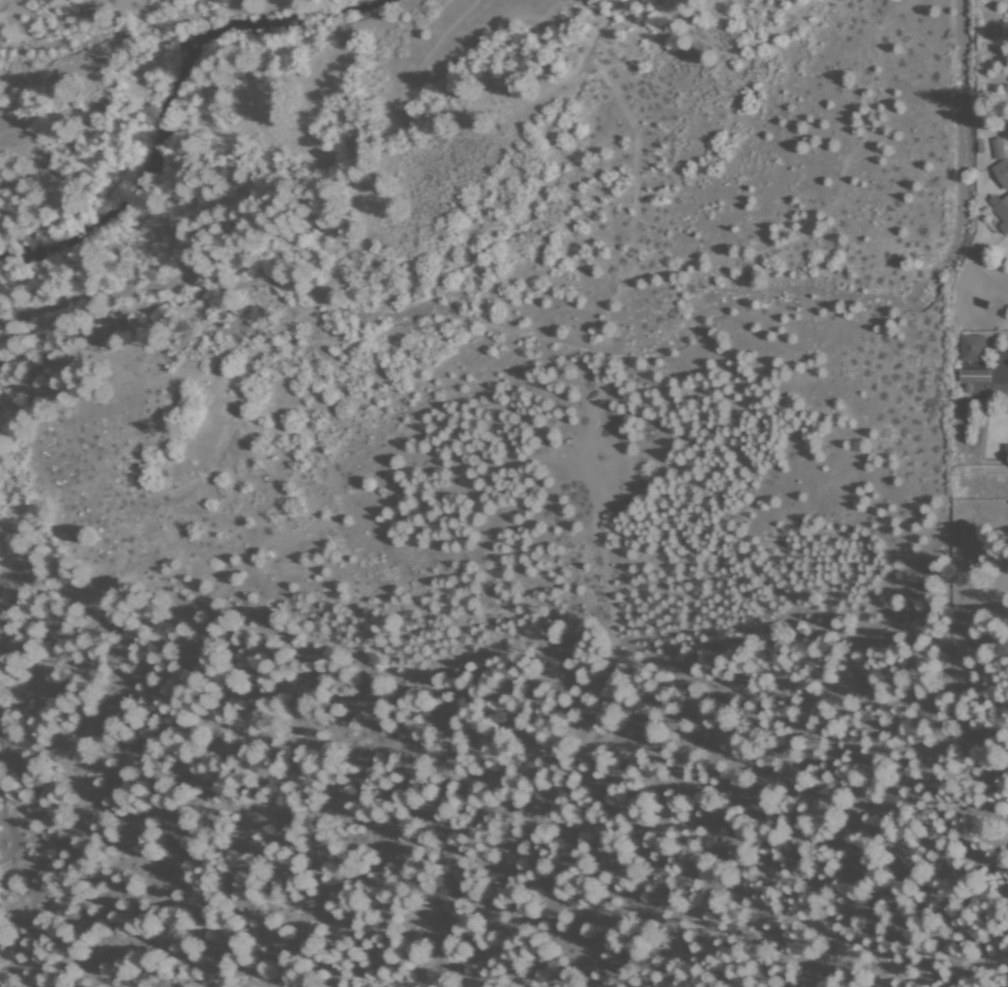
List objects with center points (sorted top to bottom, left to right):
building: (995, 149)
building: (1000, 173)
building: (1000, 211)
building: (969, 349)
road: (986, 373)
building: (972, 376)
building: (1004, 449)

